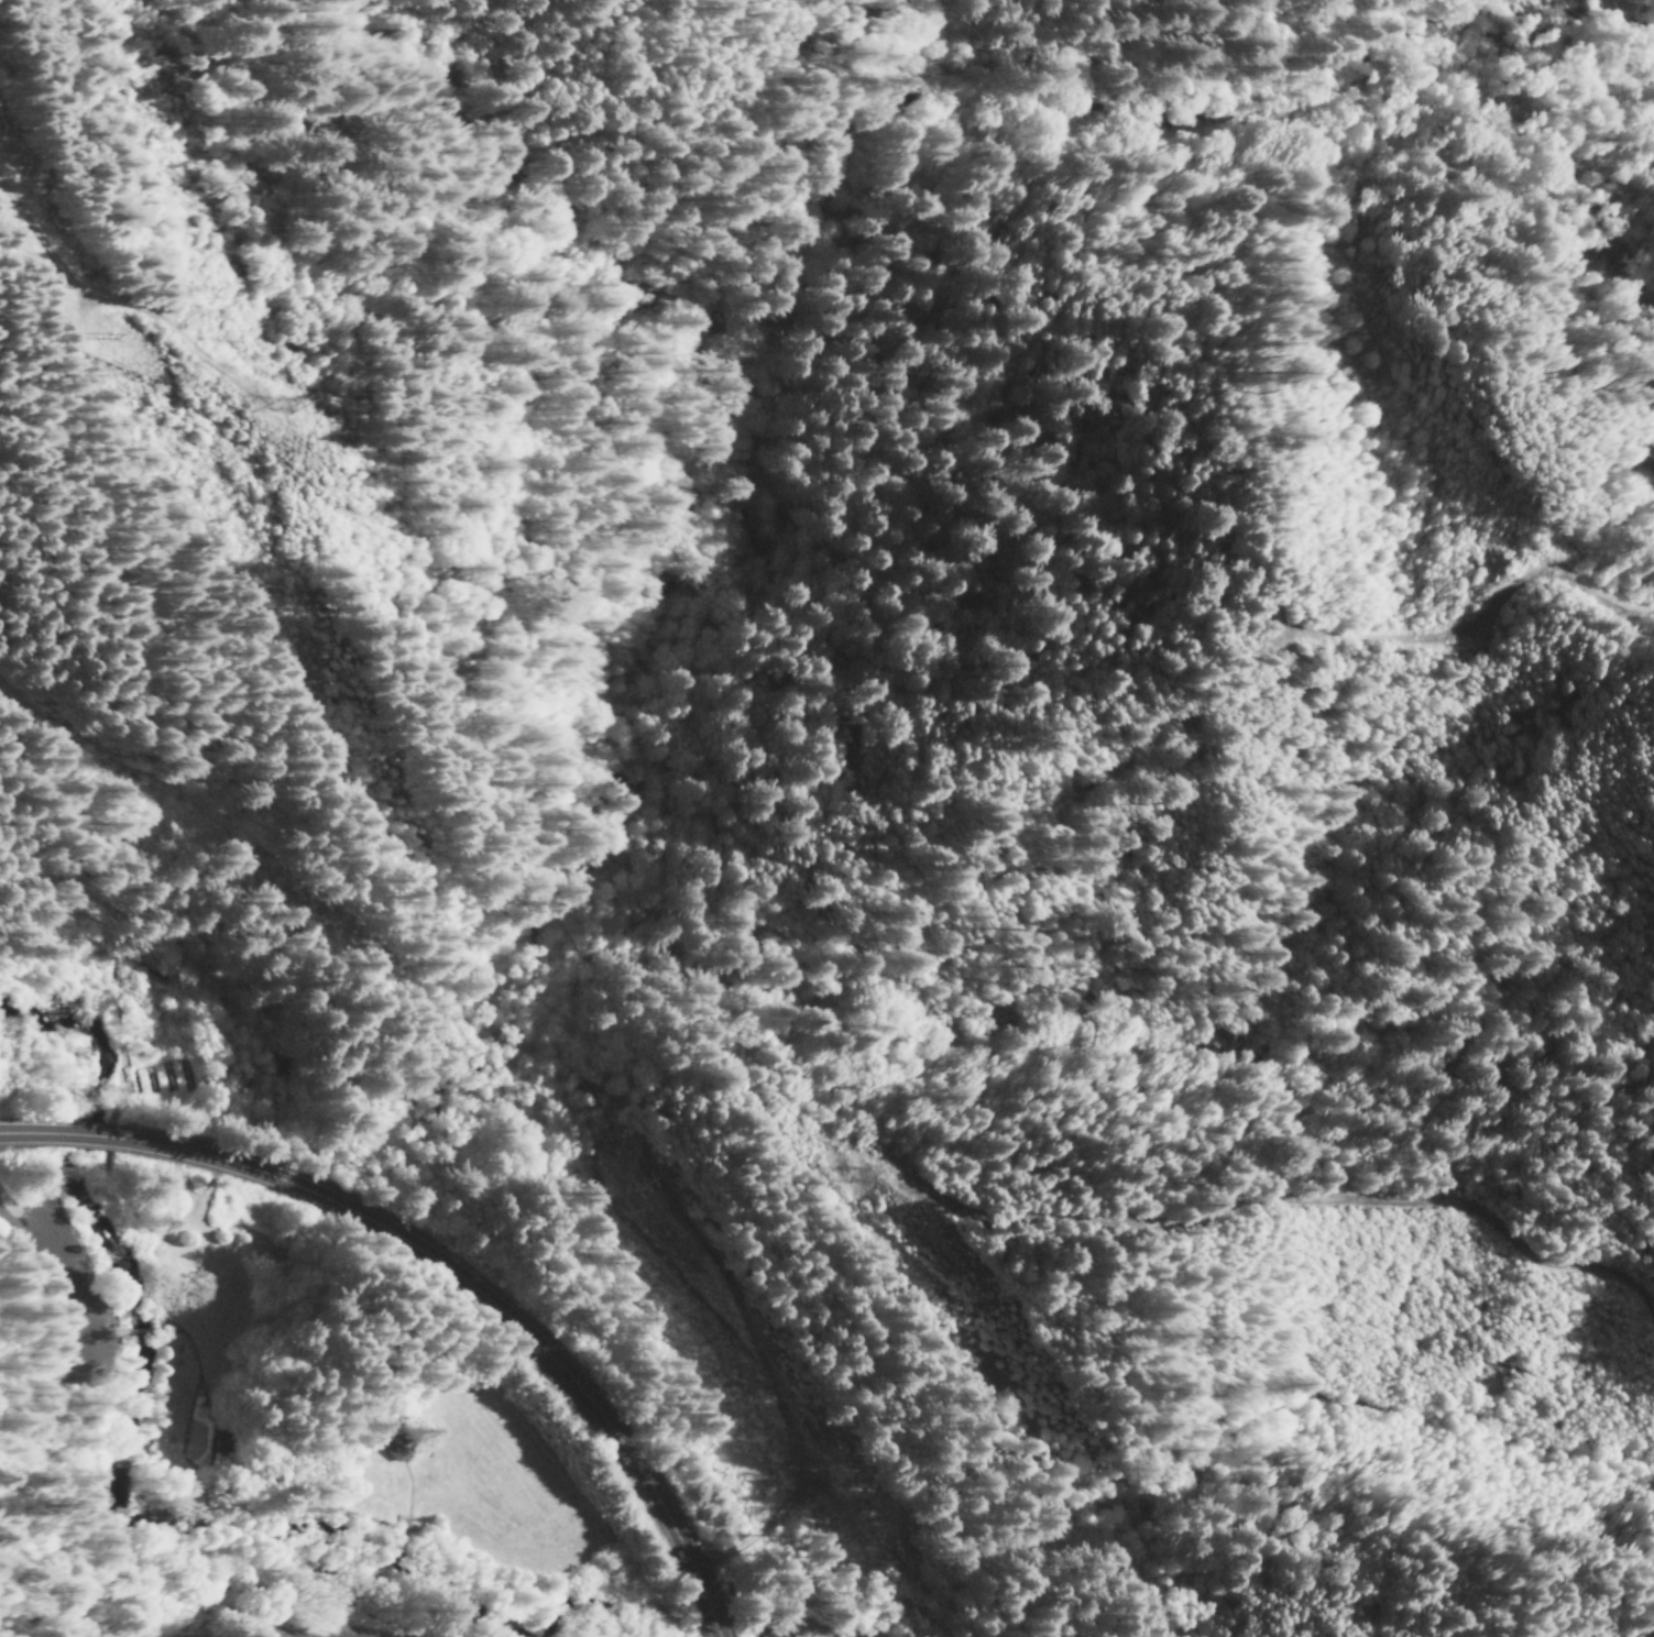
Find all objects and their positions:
power tower: (292, 408)
power tower: (875, 1174)
road: (439, 1270)
road: (136, 1323)
building: (390, 1451)
road: (121, 1452)
road: (207, 1487)
road: (396, 1495)
road: (395, 1557)
road: (243, 1603)
road: (386, 1607)

